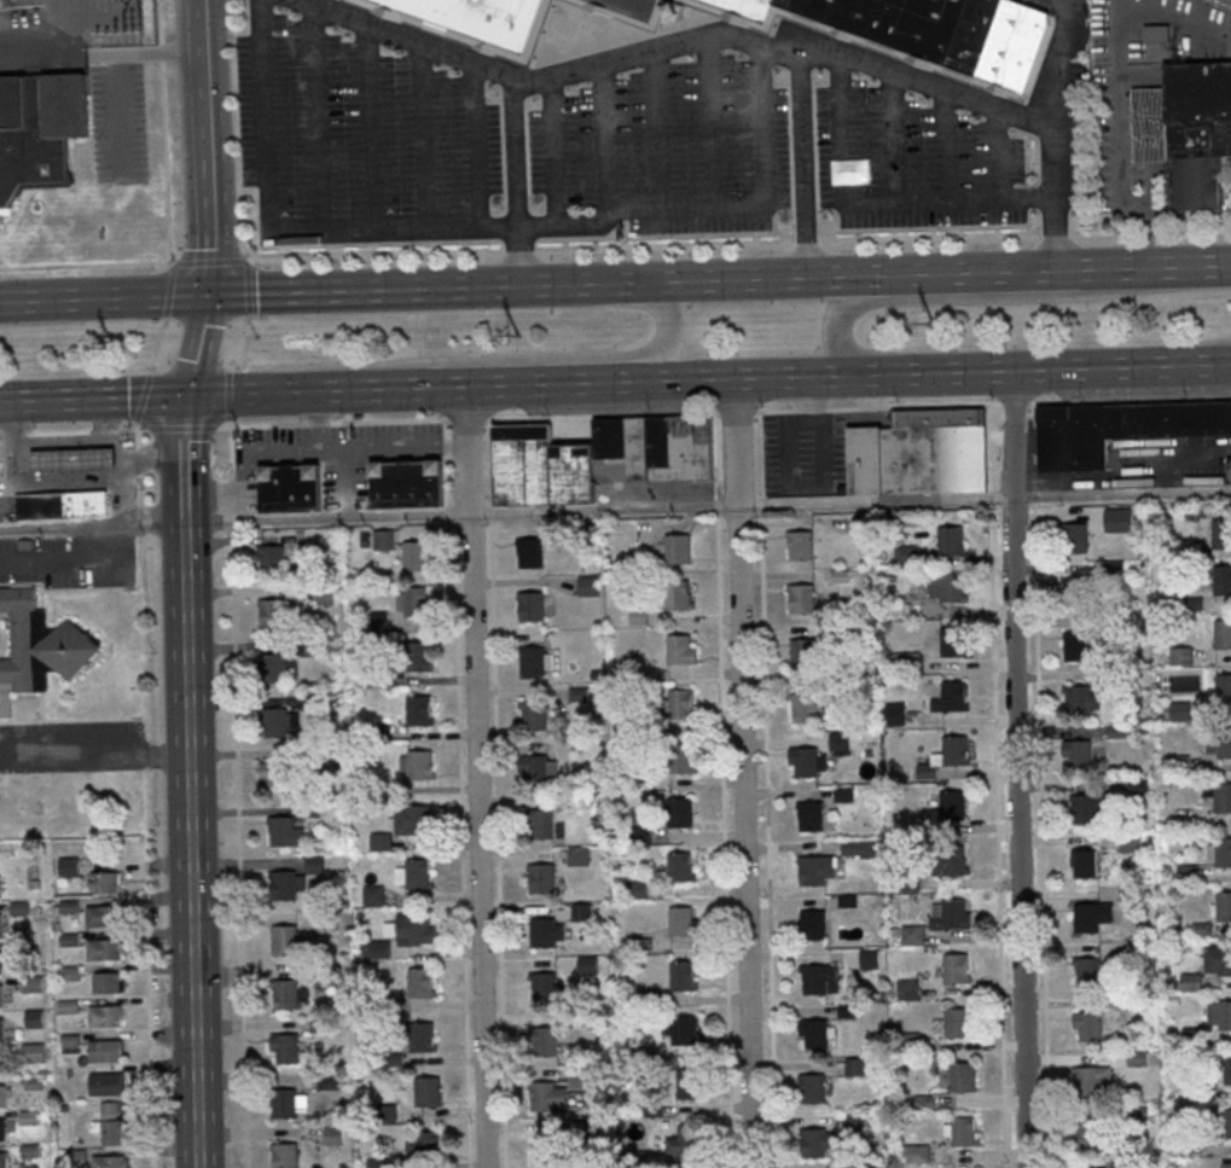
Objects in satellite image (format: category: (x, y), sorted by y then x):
building: (1227, 0)
building: (477, 22)
building: (895, 29)
building: (1157, 31)
road: (104, 50)
road: (853, 59)
road: (1055, 62)
road: (501, 70)
road: (1120, 91)
road: (317, 120)
road: (371, 128)
building: (1188, 128)
building: (39, 130)
road: (423, 136)
road: (890, 138)
road: (477, 145)
road: (942, 145)
road: (211, 146)
road: (997, 153)
road: (800, 164)
road: (877, 204)
road: (719, 205)
road: (278, 233)
road: (1146, 236)
road: (1197, 236)
road: (1099, 237)
road: (1055, 239)
road: (929, 242)
road: (803, 246)
road: (660, 249)
road: (517, 255)
road: (249, 260)
road: (1157, 267)
road: (994, 271)
road: (772, 278)
road: (425, 287)
traffic signals: (213, 294)
road: (106, 297)
road: (936, 298)
power tower: (933, 329)
power tower: (519, 339)
road: (196, 343)
power tower: (114, 351)
road: (554, 356)
road: (1218, 359)
road: (936, 372)
road: (536, 384)
road: (306, 390)
traffic signals: (184, 395)
road: (92, 397)
road: (645, 413)
building: (1117, 428)
road: (114, 430)
building: (916, 453)
building: (596, 457)
road: (180, 458)
building: (69, 459)
building: (1230, 472)
building: (407, 483)
building: (290, 487)
building: (58, 504)
road: (615, 509)
building: (1117, 518)
building: (1220, 533)
building: (1072, 537)
building: (384, 539)
building: (948, 541)
building: (797, 545)
building: (675, 548)
building: (527, 553)
building: (412, 554)
building: (907, 554)
building: (268, 560)
building: (1220, 579)
building: (590, 585)
building: (948, 586)
building: (1072, 591)
building: (675, 593)
building: (799, 599)
building: (413, 602)
building: (529, 605)
building: (907, 609)
building: (269, 614)
building: (1221, 633)
building: (950, 641)
building: (41, 644)
building: (1073, 646)
building: (678, 647)
building: (800, 652)
building: (1181, 655)
building: (414, 656)
building: (906, 659)
building: (529, 661)
building: (272, 668)
building: (1221, 688)
building: (952, 696)
building: (1081, 698)
building: (679, 703)
building: (805, 707)
building: (1180, 709)
building: (417, 710)
building: (533, 714)
building: (895, 714)
building: (273, 722)
building: (840, 743)
building: (1223, 743)
building: (953, 748)
building: (1078, 752)
road: (94, 757)
building: (680, 757)
building: (806, 760)
building: (417, 763)
road: (1017, 768)
building: (534, 769)
road: (743, 773)
road: (476, 775)
building: (275, 777)
road: (237, 796)
building: (1221, 797)
building: (951, 803)
building: (1082, 808)
building: (679, 810)
building: (809, 814)
building: (416, 820)
building: (539, 824)
building: (279, 831)
road: (1039, 837)
building: (1132, 841)
road: (191, 844)
building: (1221, 852)
building: (951, 858)
building: (1084, 864)
building: (678, 866)
building: (69, 868)
building: (811, 870)
building: (417, 872)
building: (541, 877)
building: (105, 882)
building: (280, 887)
building: (373, 895)
building: (1223, 906)
building: (581, 911)
building: (951, 914)
building: (103, 916)
building: (1091, 916)
building: (679, 920)
building: (812, 923)
building: (0, 924)
building: (417, 926)
building: (542, 930)
building: (912, 935)
building: (281, 940)
building: (105, 948)
building: (870, 958)
building: (1224, 959)
building: (1, 961)
building: (953, 966)
building: (1086, 971)
building: (71, 972)
building: (681, 974)
building: (813, 978)
building: (418, 981)
building: (108, 982)
building: (33, 986)
building: (544, 986)
building: (908, 989)
building: (285, 993)
building: (1, 995)
road: (147, 1011)
building: (1223, 1013)
building: (106, 1016)
building: (35, 1018)
building: (956, 1021)
building: (1087, 1024)
building: (1, 1029)
building: (683, 1029)
building: (815, 1033)
building: (420, 1035)
building: (544, 1040)
building: (71, 1041)
building: (286, 1047)
building: (106, 1050)
building: (34, 1053)
building: (855, 1067)
building: (1227, 1068)
building: (960, 1075)
building: (1088, 1079)
building: (689, 1082)
building: (108, 1083)
building: (812, 1087)
building: (426, 1091)
building: (541, 1094)
building: (2, 1096)
building: (283, 1102)
building: (1227, 1122)
building: (114, 1123)
building: (4, 1128)
building: (962, 1129)
building: (1086, 1134)
building: (689, 1137)
building: (813, 1140)
building: (426, 1145)
building: (544, 1149)
building: (912, 1154)
building: (284, 1155)
building: (4, 1160)
building: (110, 1161)
building: (1227, 1164)
building: (865, 1167)

